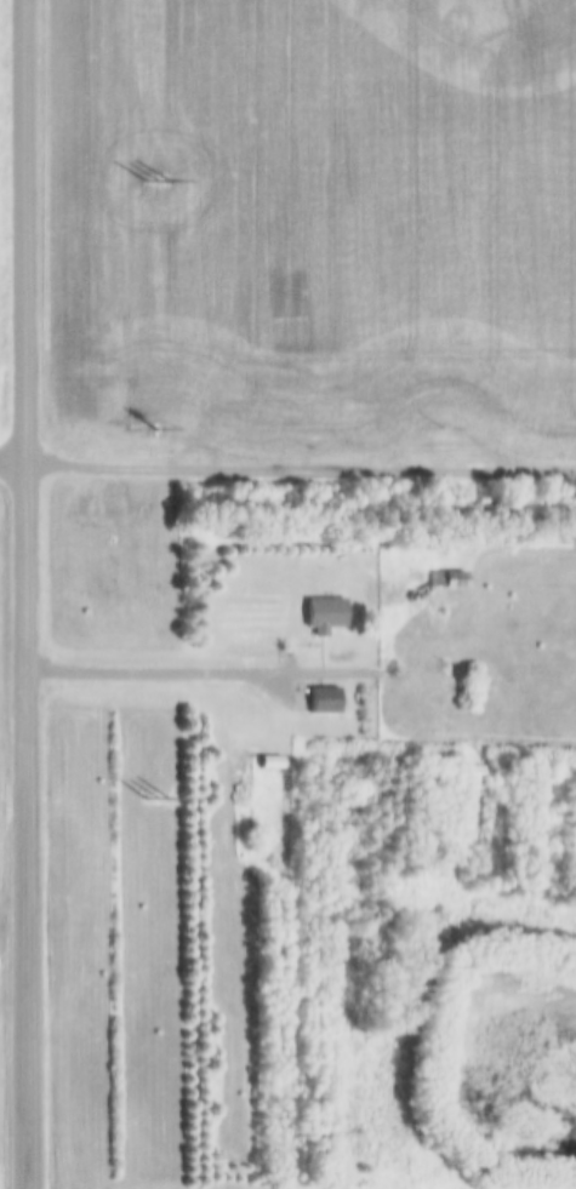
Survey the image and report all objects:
power tower: (155, 188)
road: (13, 474)
road: (301, 478)
building: (446, 582)
road: (27, 594)
building: (325, 614)
road: (266, 678)
building: (316, 703)
building: (270, 765)
building: (471, 774)
power tower: (160, 793)

